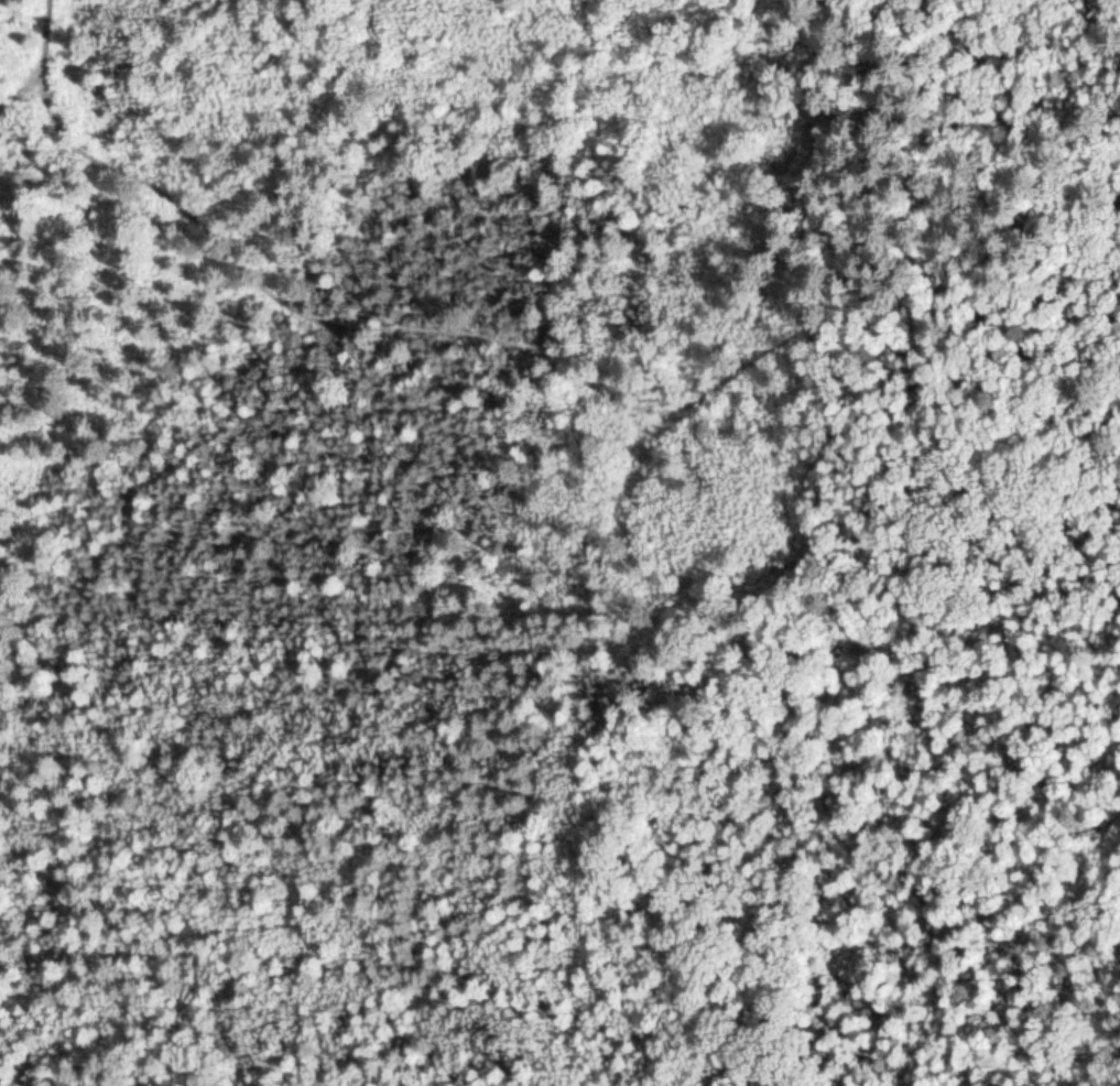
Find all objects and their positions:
road: (404, 360)
road: (649, 675)

